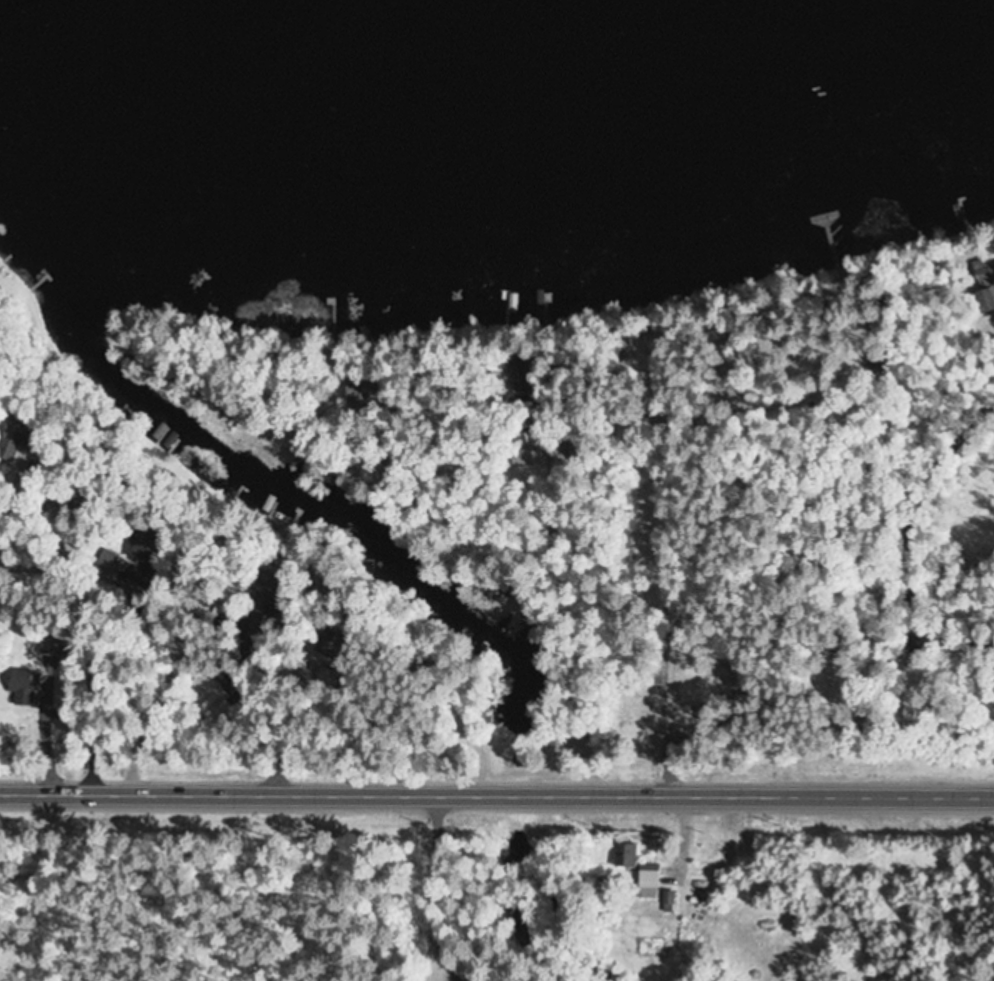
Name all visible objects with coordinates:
building: (985, 270)
building: (985, 299)
building: (628, 352)
road: (748, 379)
building: (531, 458)
road: (904, 519)
building: (120, 570)
road: (557, 582)
road: (648, 602)
building: (52, 643)
road: (303, 650)
road: (267, 661)
building: (697, 683)
building: (22, 687)
road: (496, 795)
building: (631, 857)
building: (654, 878)
building: (675, 902)

